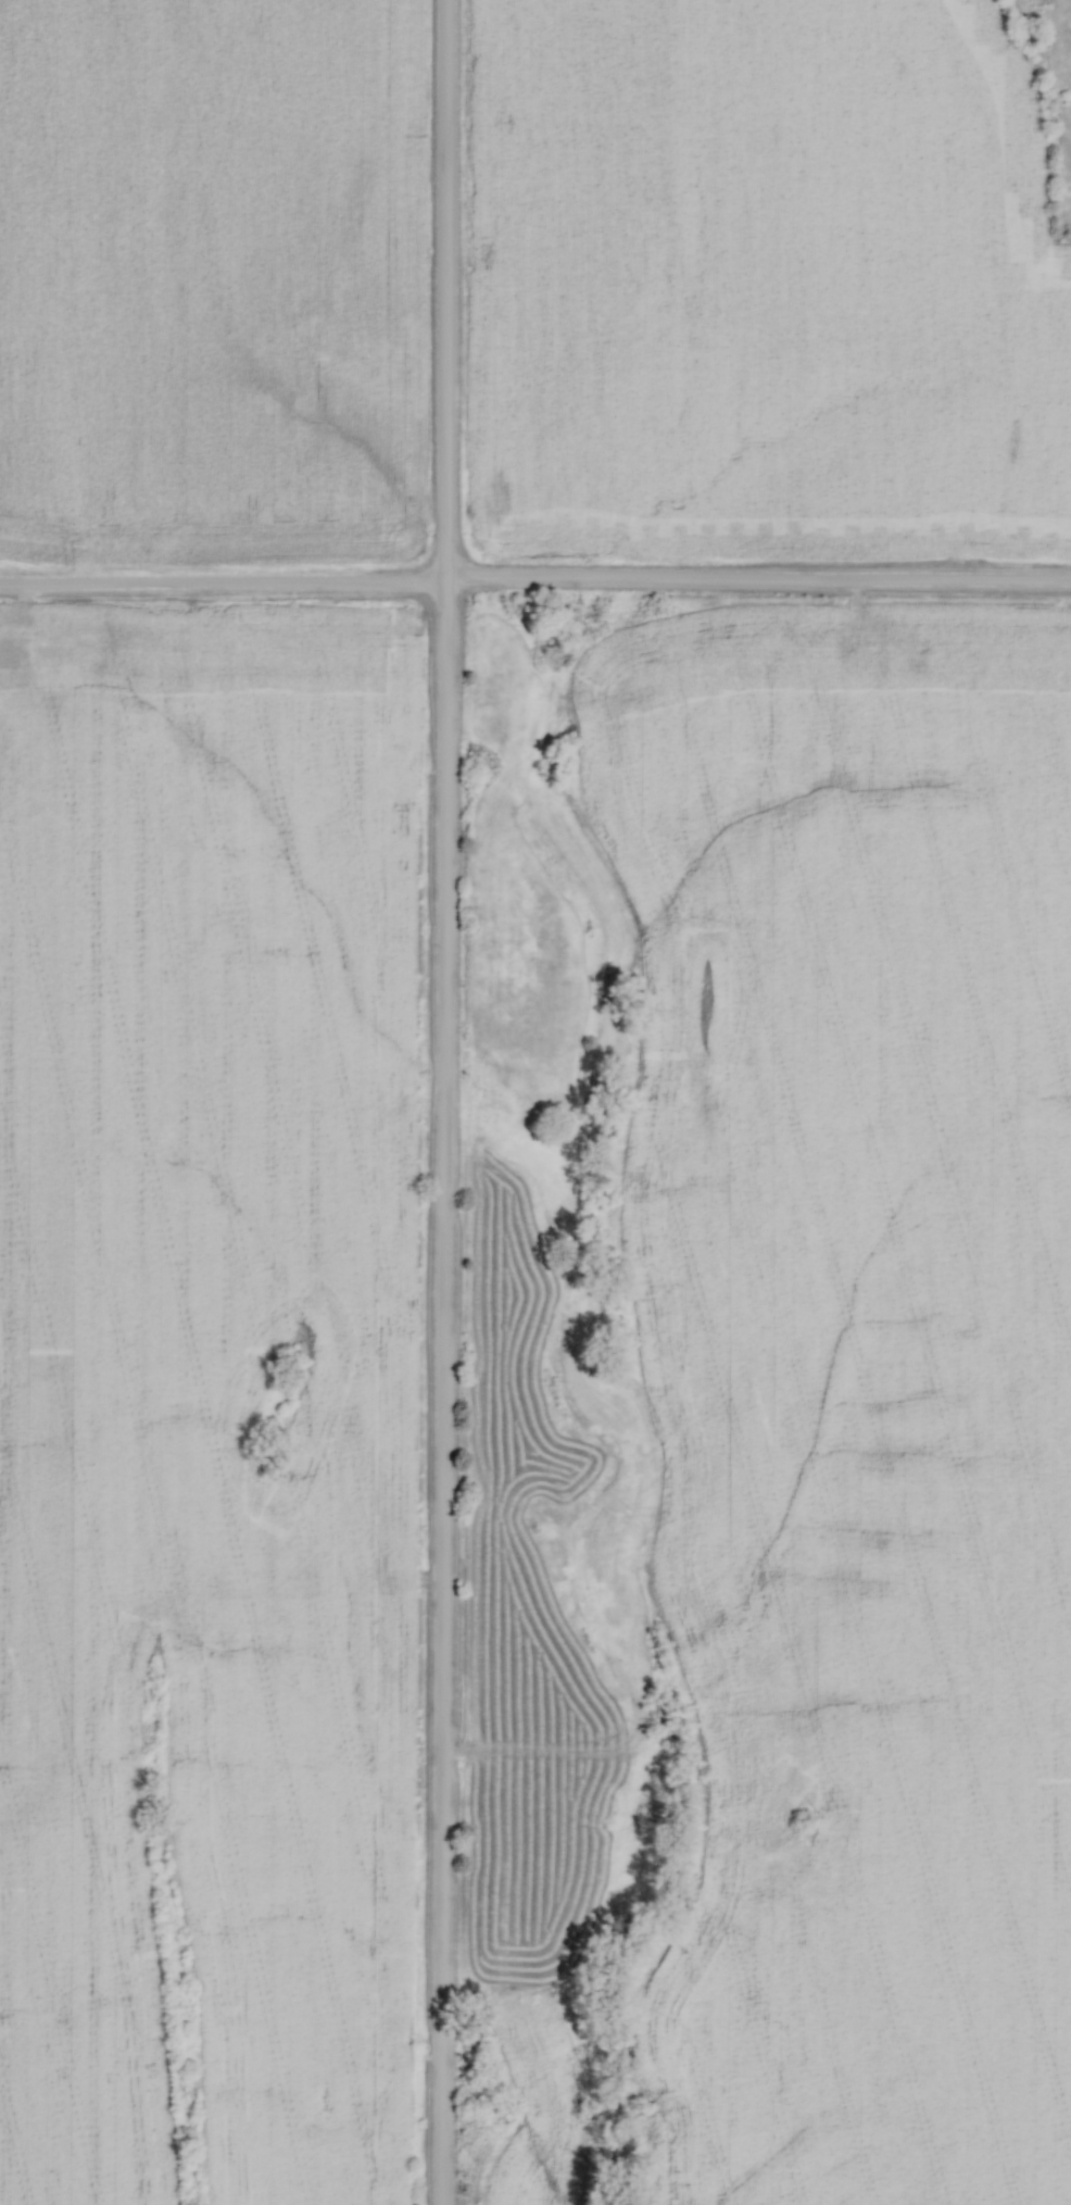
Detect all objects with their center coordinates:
road: (534, 579)
road: (441, 1102)

